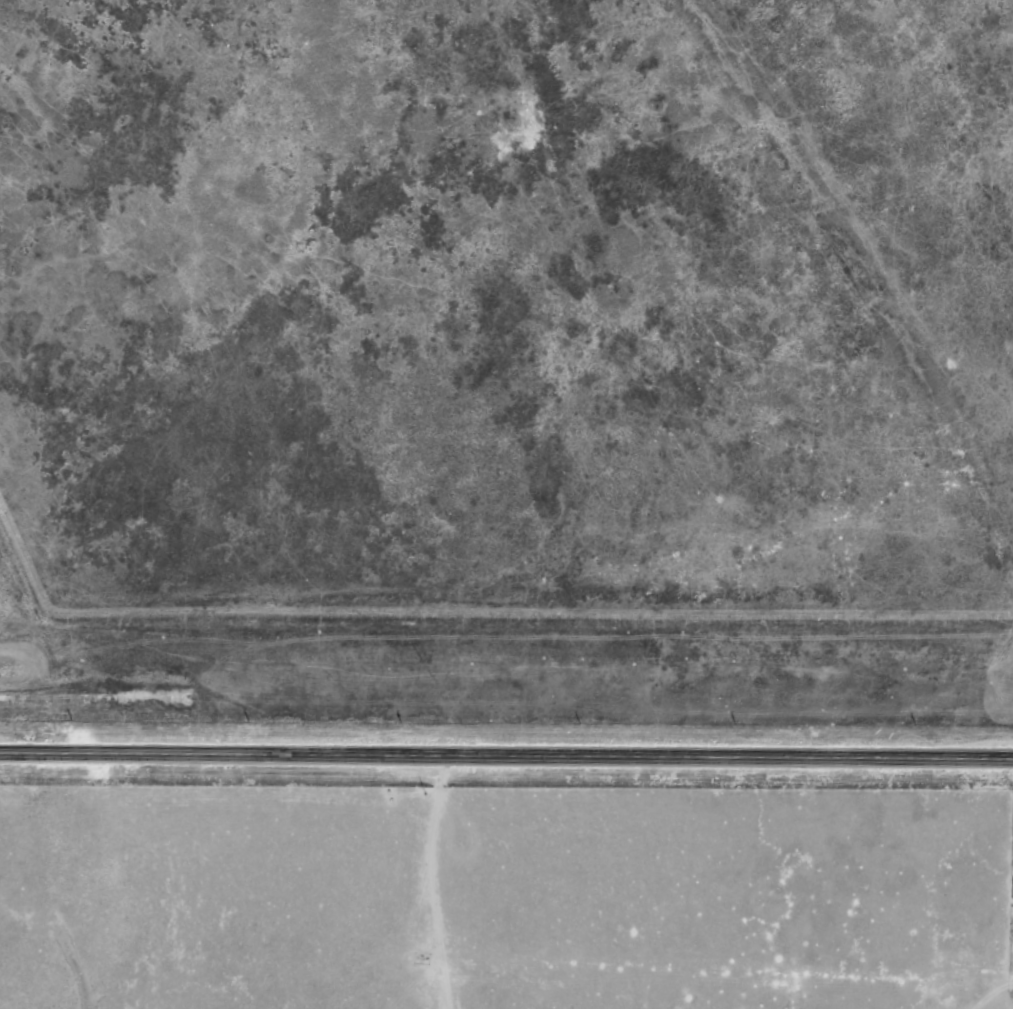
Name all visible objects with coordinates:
road: (506, 751)
building: (1011, 890)

